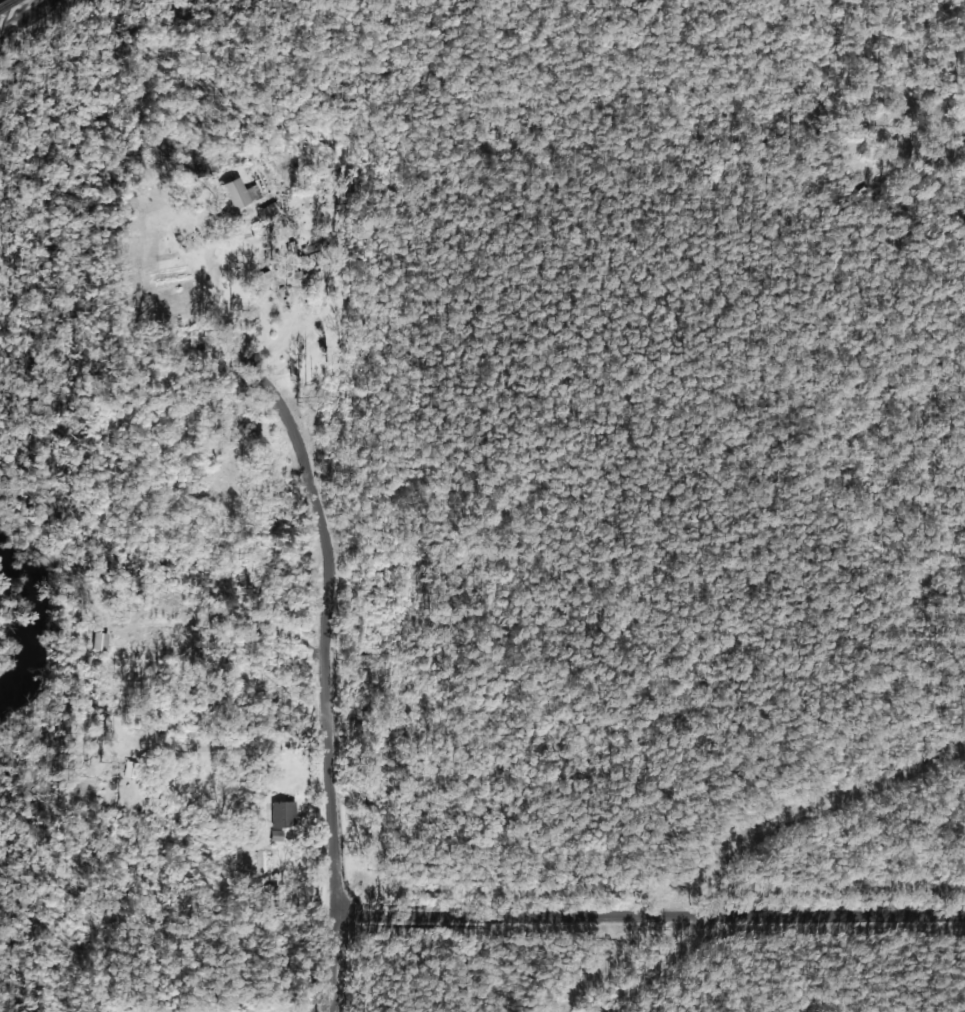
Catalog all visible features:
railway: (18, 10)
building: (233, 193)
building: (268, 212)
building: (99, 640)
road: (335, 676)
building: (281, 813)
road: (651, 911)

